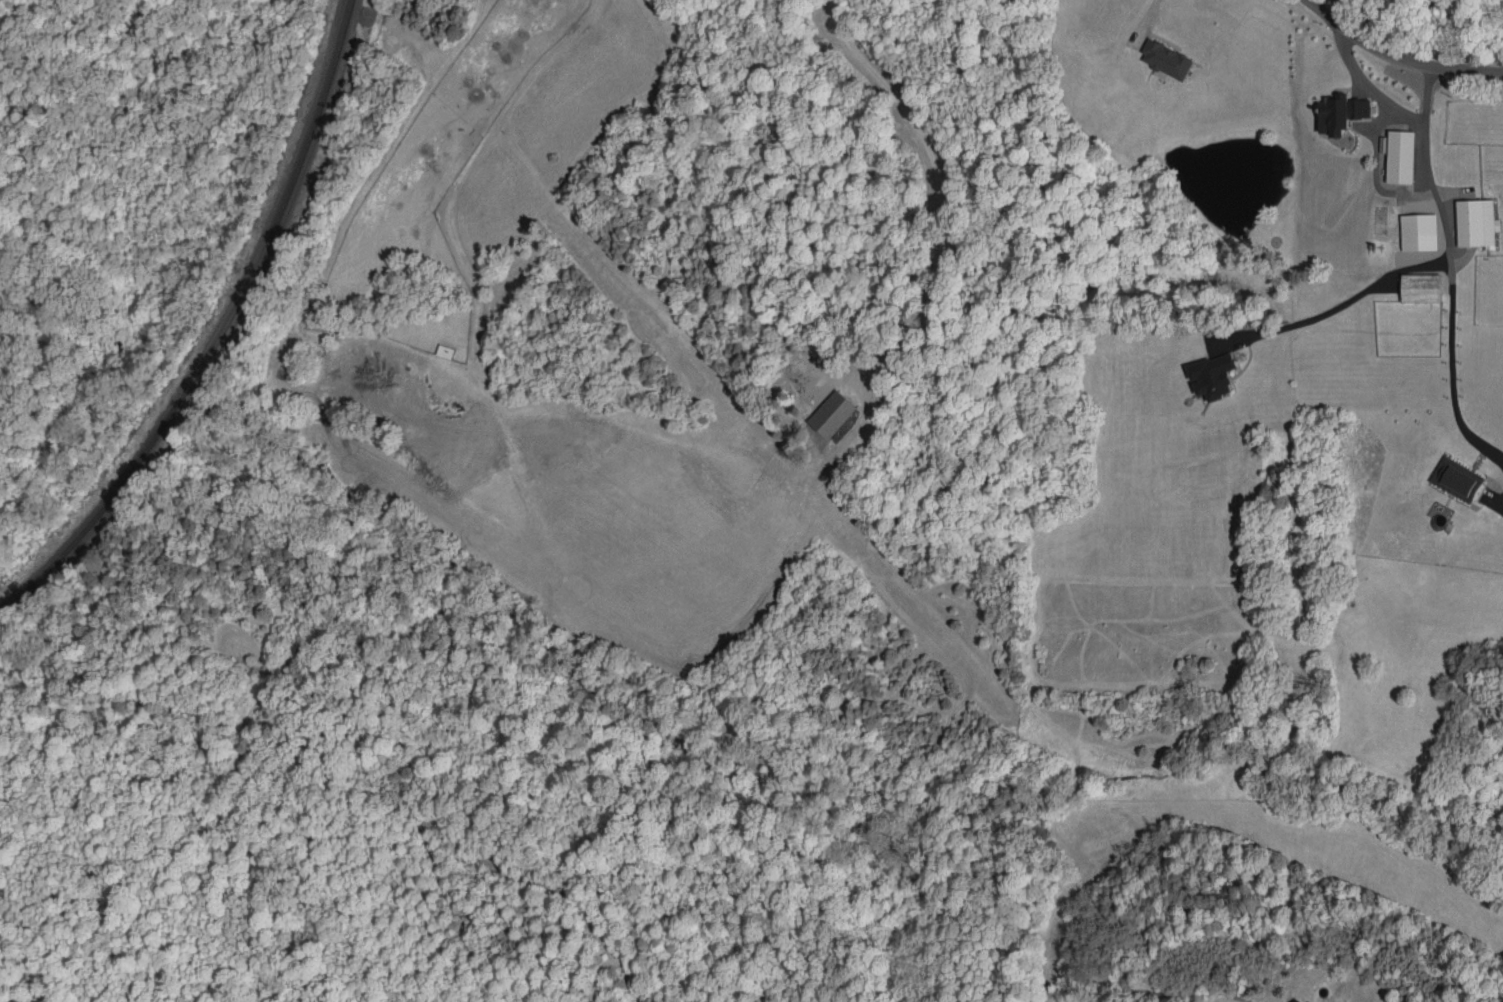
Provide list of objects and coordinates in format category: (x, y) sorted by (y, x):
road: (1146, 15)
road: (1404, 52)
building: (1167, 59)
road: (1364, 80)
building: (1342, 113)
building: (1401, 156)
road: (936, 187)
building: (1477, 223)
building: (1419, 231)
road: (1444, 260)
building: (1421, 287)
railway: (220, 331)
road: (1450, 371)
building: (1213, 375)
building: (832, 414)
building: (1457, 478)
road: (1496, 504)
building: (1299, 1000)

